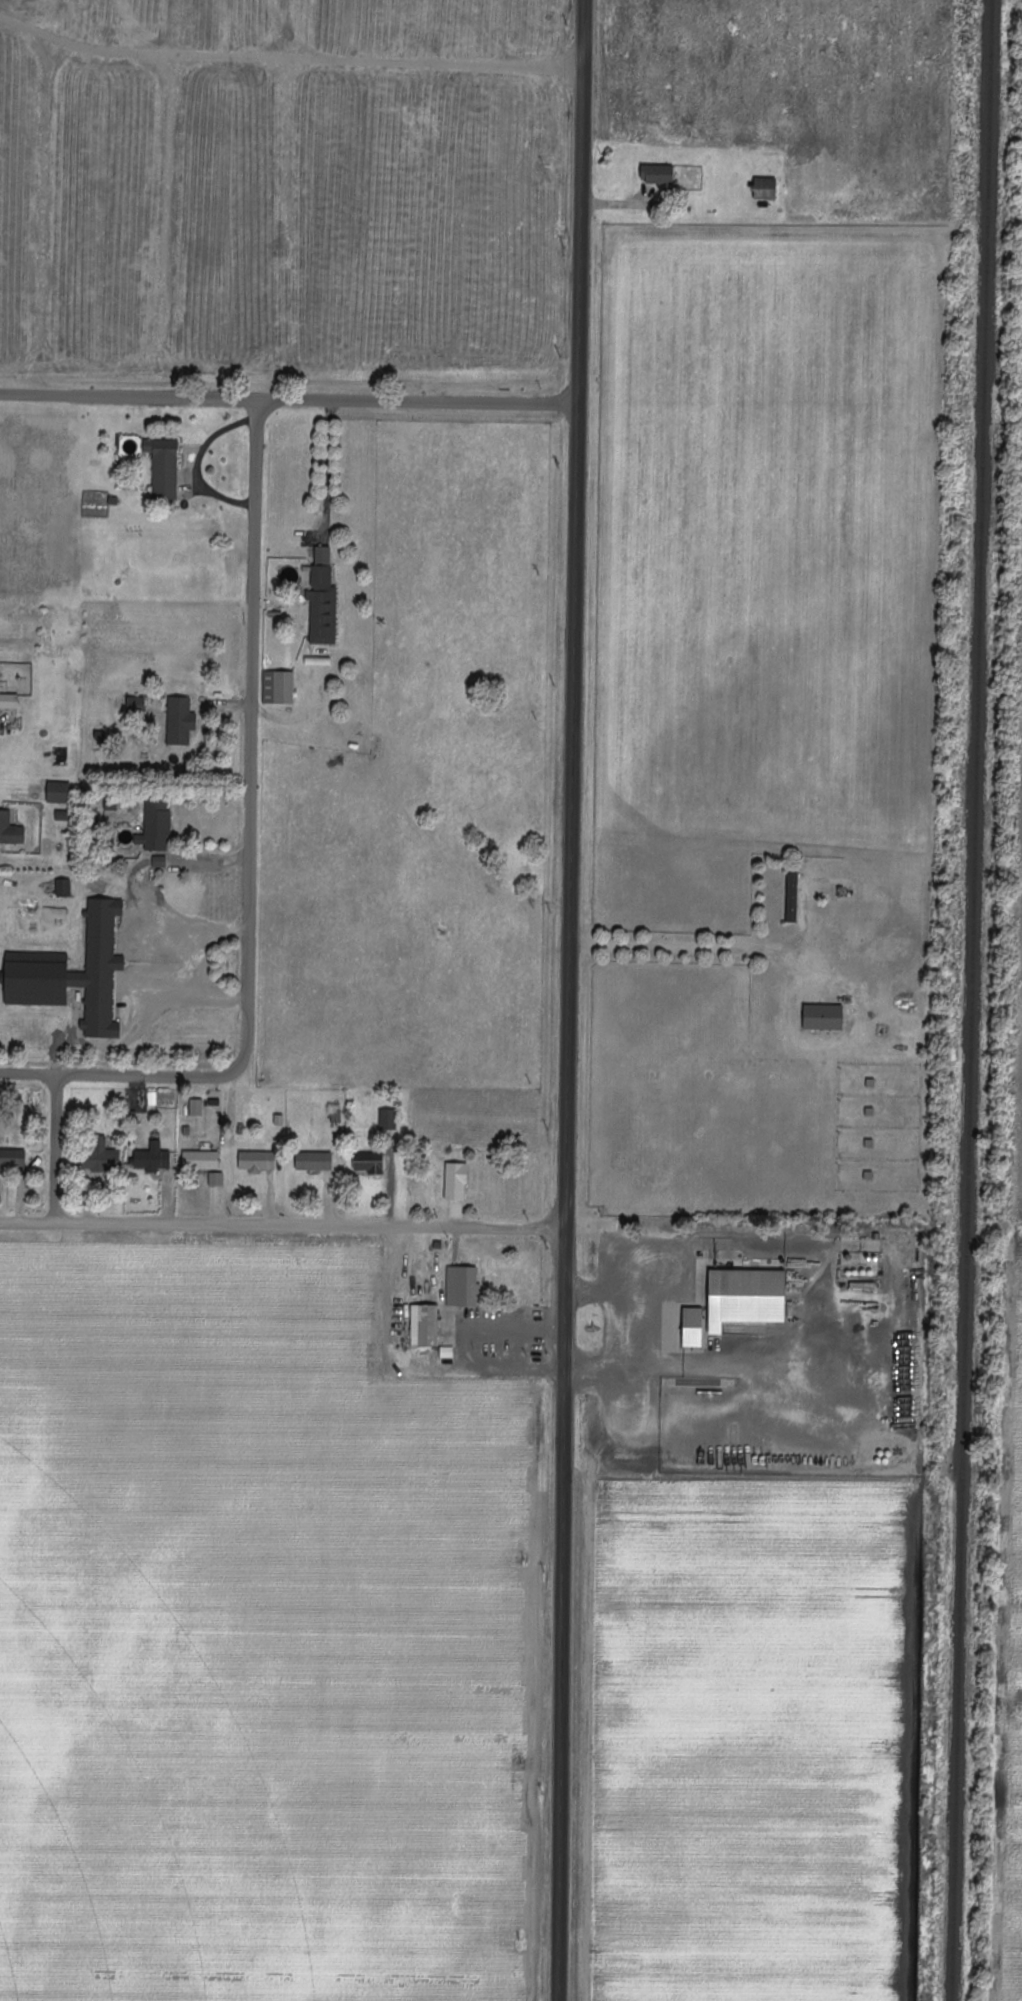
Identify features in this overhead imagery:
building: (658, 174)
building: (766, 189)
road: (129, 398)
road: (419, 402)
building: (164, 467)
road: (331, 471)
building: (323, 599)
building: (278, 686)
building: (9, 699)
building: (136, 703)
building: (180, 720)
building: (59, 791)
building: (156, 825)
building: (10, 829)
road: (252, 857)
building: (160, 861)
building: (63, 887)
building: (792, 897)
road: (149, 932)
road: (689, 950)
building: (74, 972)
road: (569, 1000)
railway: (973, 1000)
building: (824, 1017)
building: (196, 1107)
building: (388, 1119)
road: (57, 1148)
building: (99, 1156)
building: (13, 1158)
building: (153, 1158)
building: (201, 1160)
building: (257, 1161)
building: (314, 1161)
building: (370, 1162)
building: (216, 1179)
building: (456, 1181)
road: (281, 1226)
building: (463, 1285)
building: (747, 1297)
building: (425, 1325)
road: (515, 1325)
building: (693, 1327)

